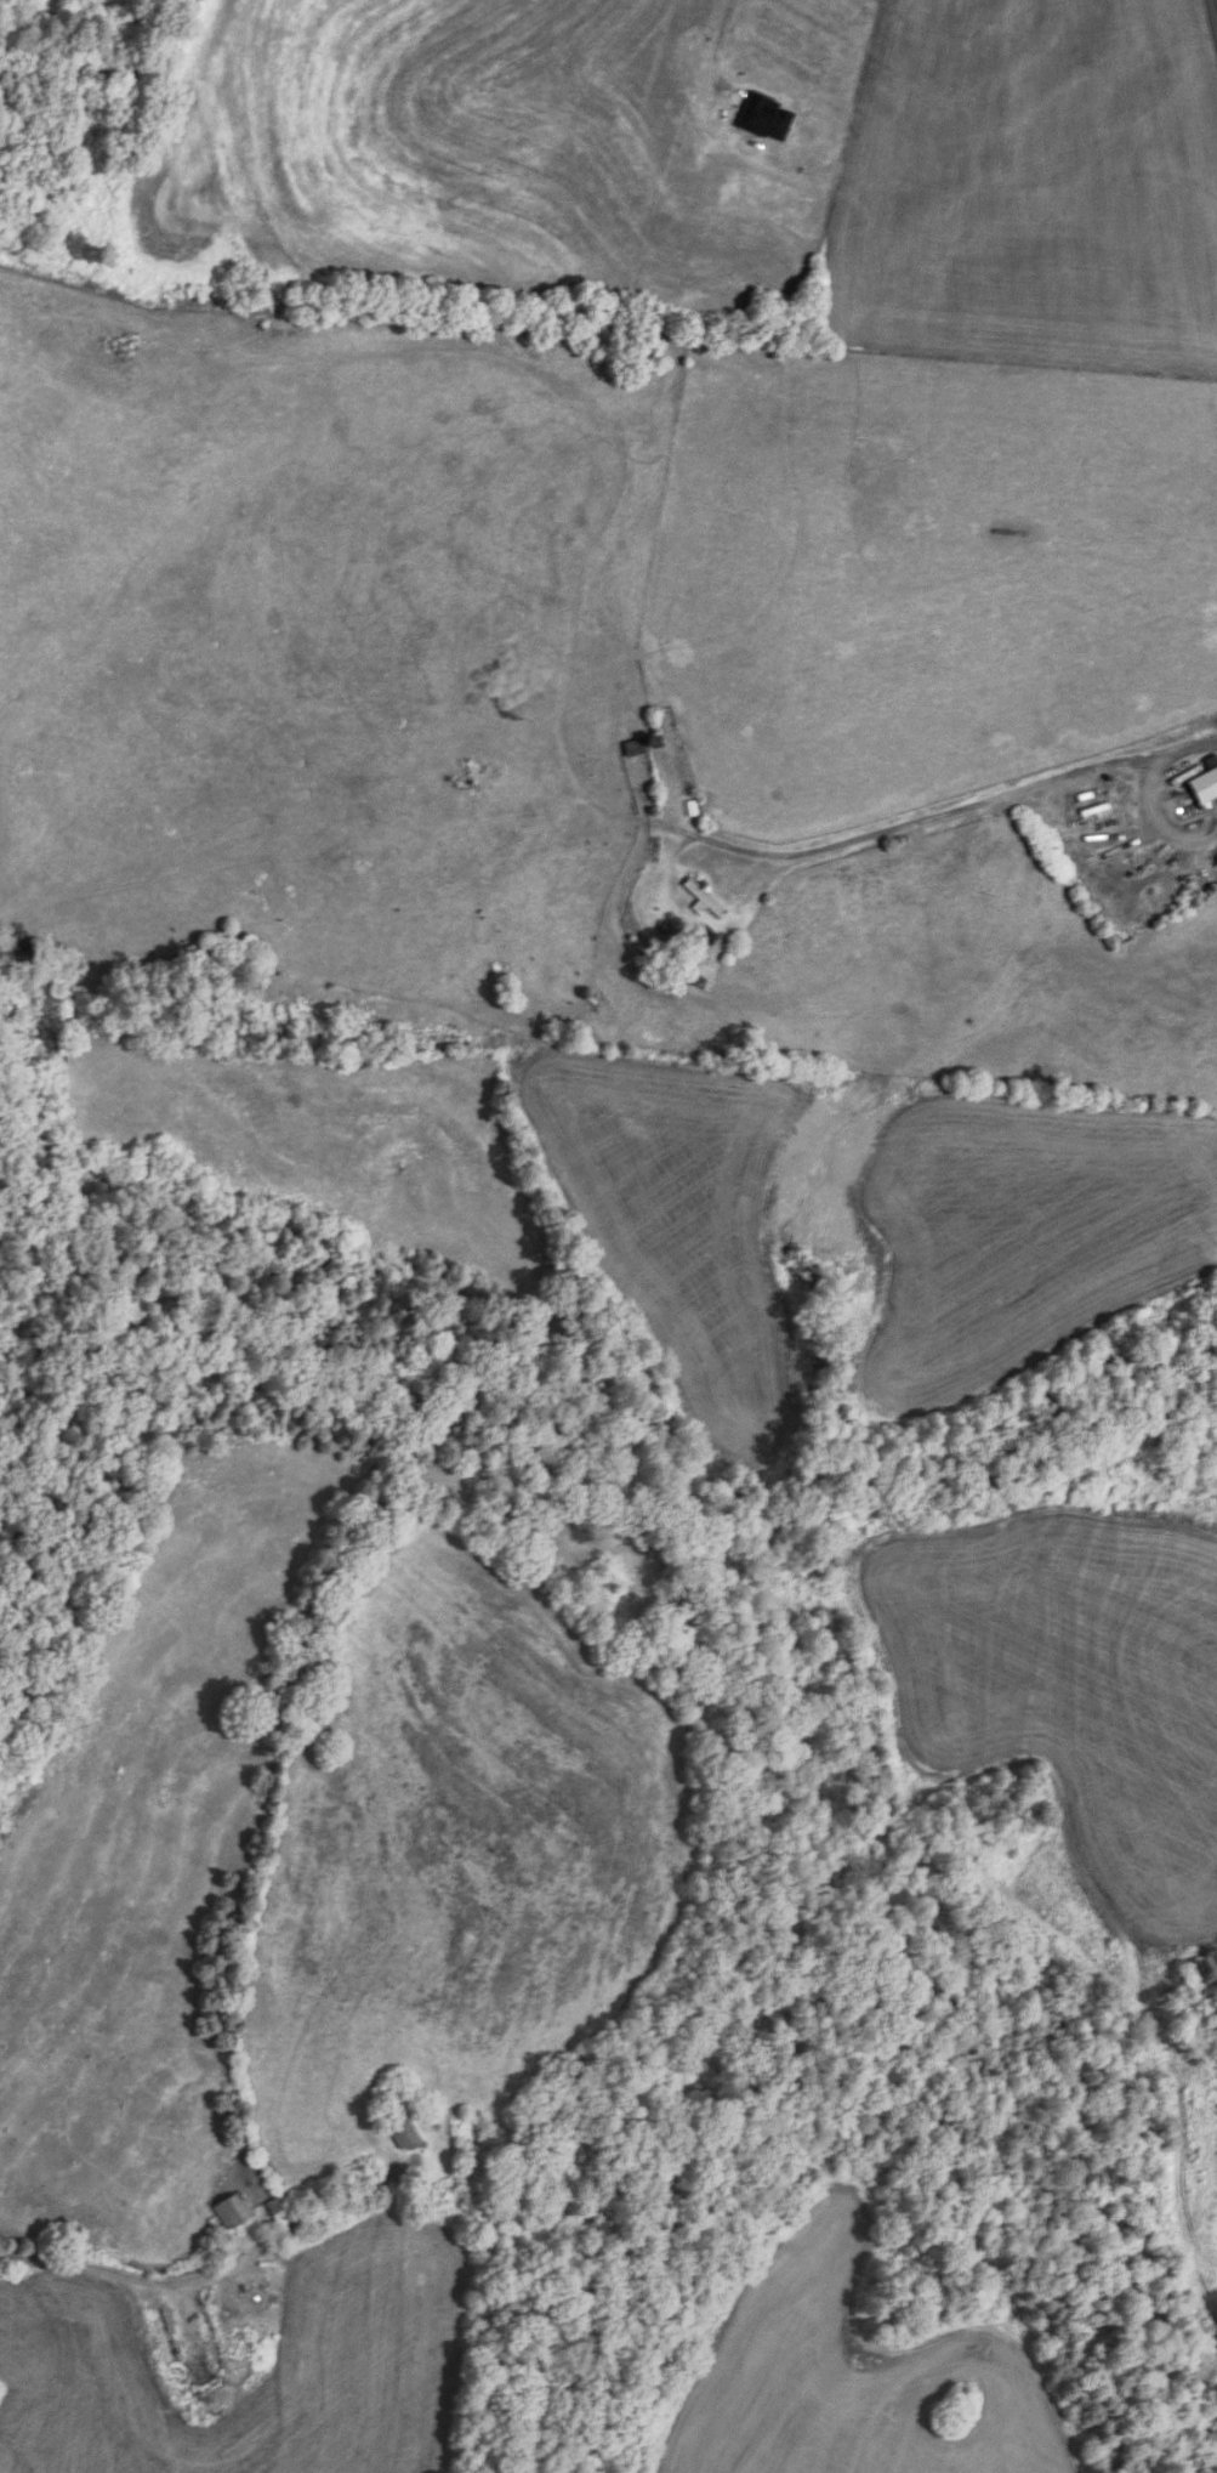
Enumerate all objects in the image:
road: (1213, 11)
road: (715, 50)
building: (660, 743)
building: (637, 748)
building: (707, 900)
building: (406, 2134)
building: (237, 2211)
road: (209, 2274)

